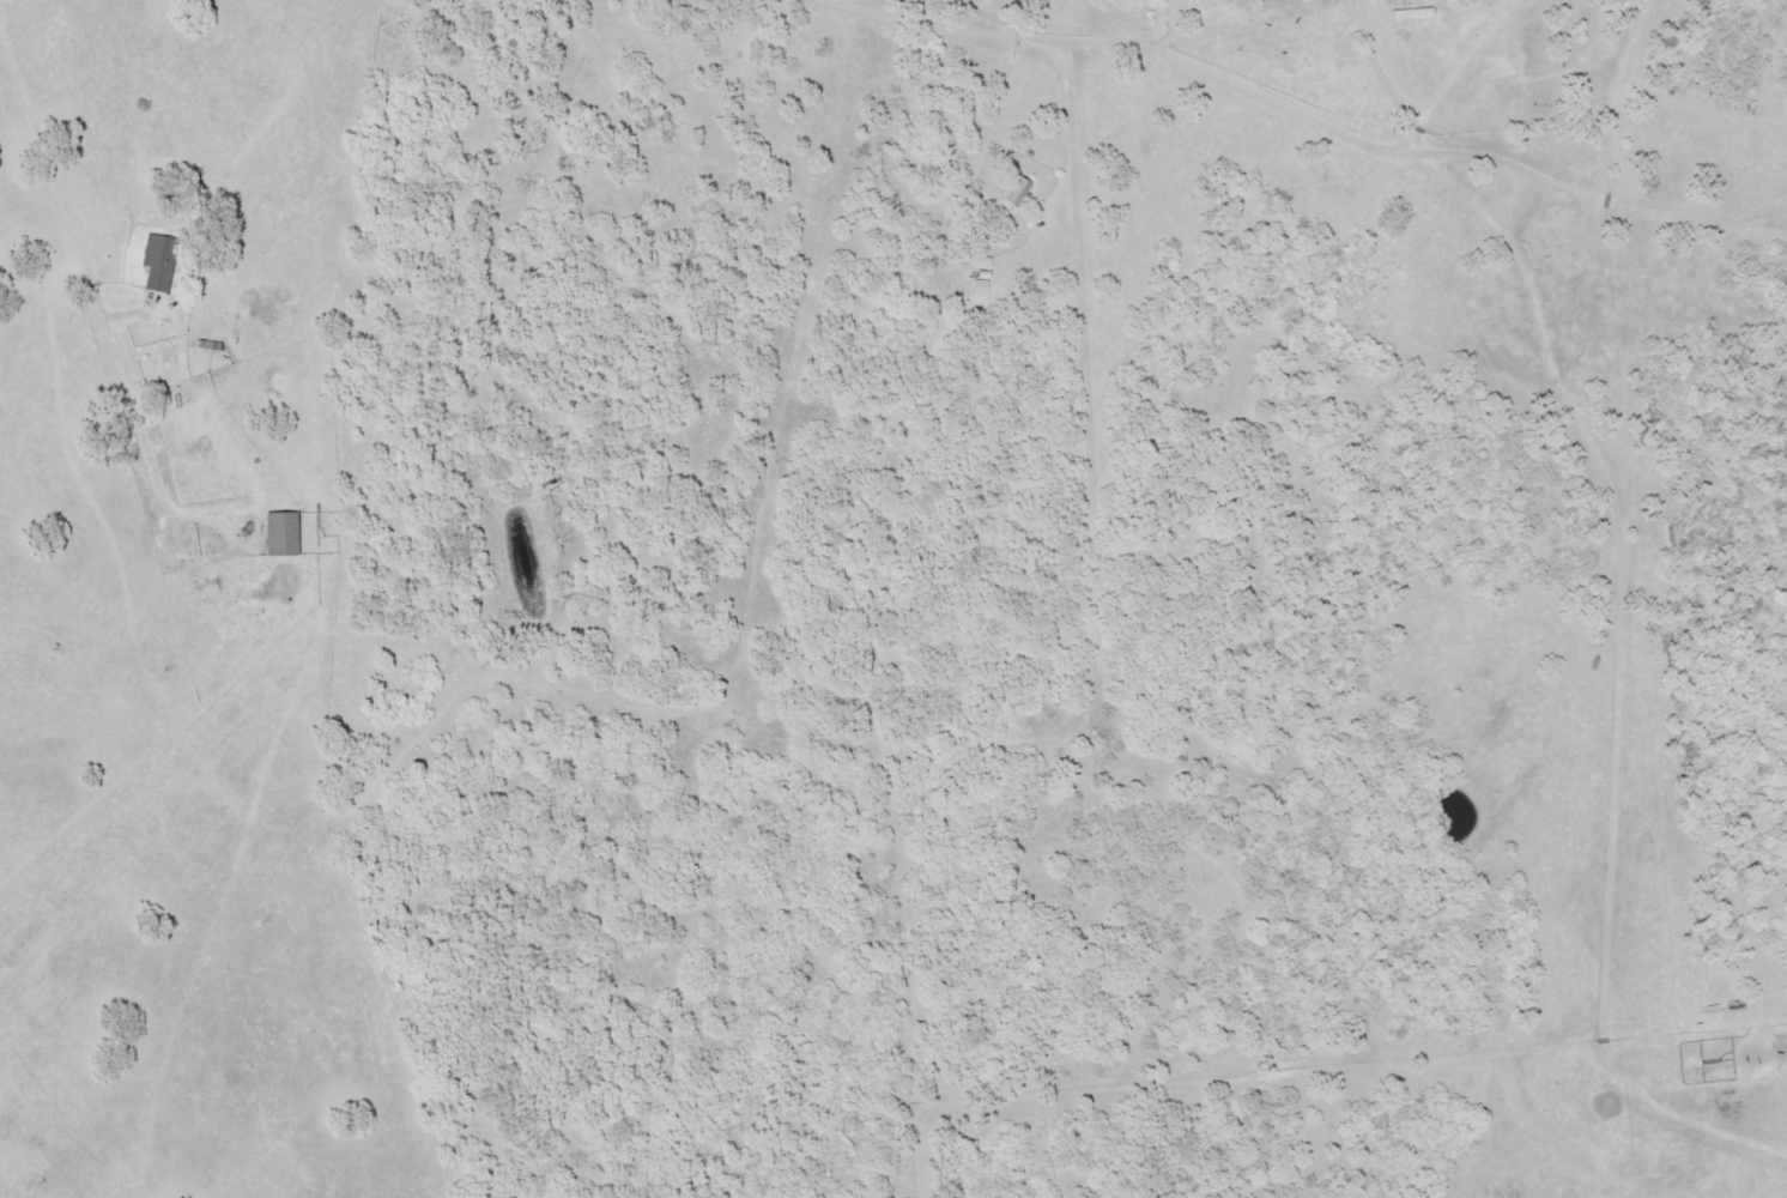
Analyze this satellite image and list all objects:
road: (1201, 28)
road: (1229, 122)
building: (1012, 192)
building: (157, 261)
road: (68, 315)
road: (750, 350)
road: (1062, 435)
building: (280, 532)
road: (1599, 672)

